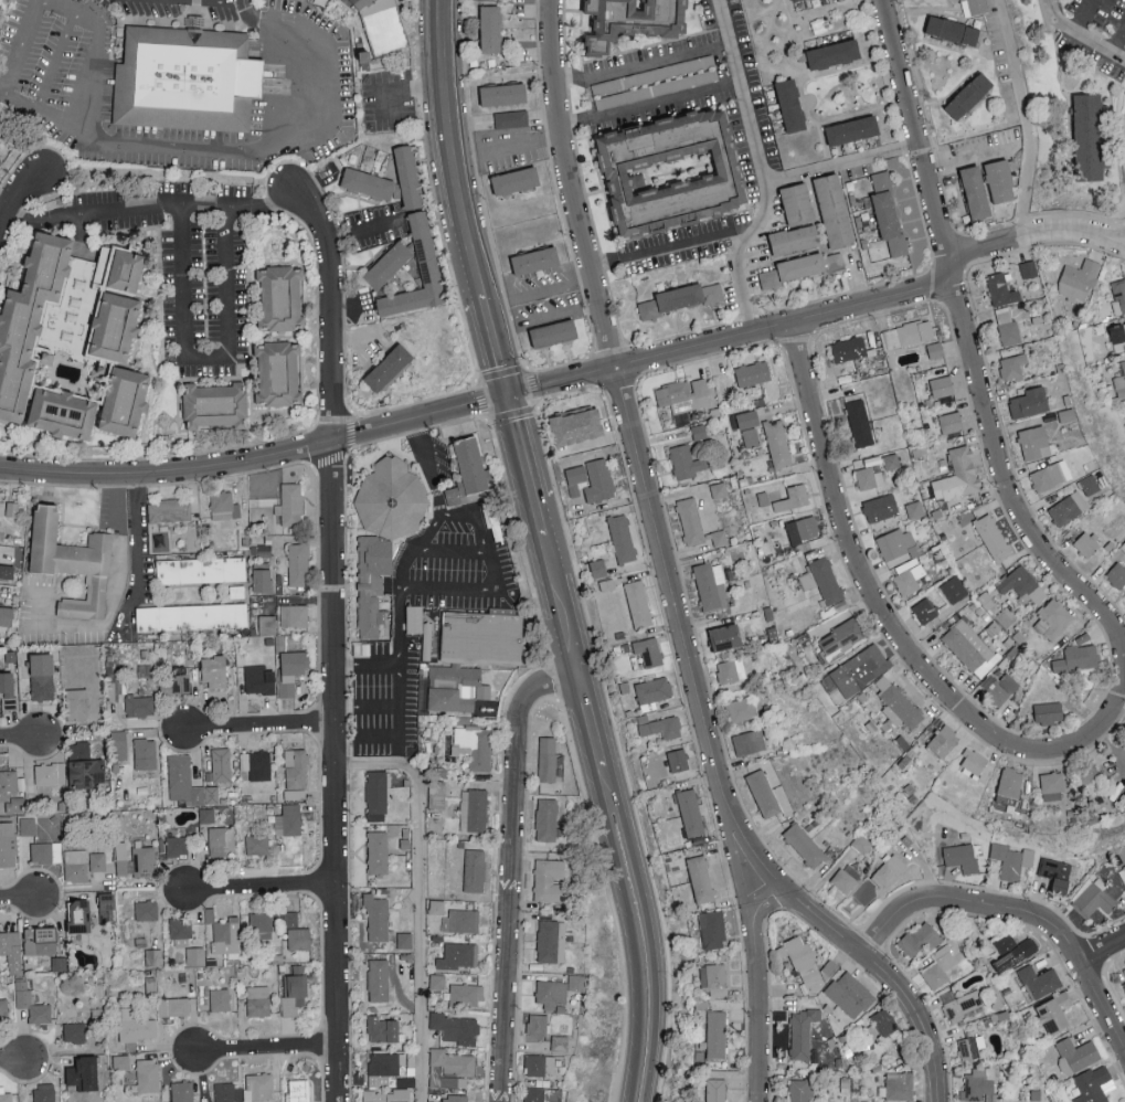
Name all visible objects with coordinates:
building: (794, 0)
road: (223, 1)
building: (319, 1)
building: (974, 7)
road: (1082, 15)
road: (29, 21)
building: (632, 21)
building: (386, 25)
building: (490, 28)
building: (952, 30)
road: (1079, 34)
road: (1118, 41)
building: (834, 53)
road: (93, 56)
road: (57, 60)
road: (721, 68)
building: (185, 81)
parking lot: (105, 85)
road: (404, 86)
building: (502, 93)
building: (968, 95)
parking lot: (389, 102)
building: (790, 105)
road: (1026, 116)
building: (511, 118)
building: (852, 129)
road: (917, 134)
building: (1087, 136)
road: (522, 144)
road: (455, 150)
road: (252, 152)
road: (970, 157)
building: (0, 160)
road: (841, 160)
road: (760, 167)
building: (671, 171)
building: (408, 176)
building: (514, 180)
building: (999, 180)
building: (368, 183)
road: (479, 187)
building: (975, 191)
road: (17, 195)
building: (797, 203)
road: (151, 209)
building: (834, 210)
building: (888, 212)
road: (3, 219)
road: (361, 227)
road: (1032, 231)
building: (794, 239)
road: (673, 244)
building: (425, 251)
road: (447, 258)
building: (534, 259)
building: (388, 264)
building: (802, 267)
building: (1028, 268)
building: (121, 269)
building: (1079, 279)
building: (1001, 289)
road: (540, 290)
building: (1121, 294)
building: (688, 296)
building: (280, 297)
building: (648, 309)
road: (360, 316)
building: (29, 319)
road: (546, 319)
building: (1007, 326)
building: (114, 327)
building: (553, 332)
building: (1117, 332)
building: (908, 333)
road: (730, 335)
road: (355, 339)
road: (496, 347)
building: (849, 349)
building: (935, 350)
building: (46, 358)
road: (206, 359)
building: (1012, 367)
building: (388, 368)
building: (278, 372)
building: (753, 373)
building: (1121, 381)
building: (941, 385)
traffic signals: (509, 396)
building: (683, 398)
building: (124, 401)
building: (1029, 402)
road: (625, 403)
building: (215, 405)
building: (62, 413)
road: (486, 418)
building: (749, 418)
building: (861, 424)
building: (951, 424)
building: (576, 425)
road: (416, 431)
building: (751, 437)
building: (777, 443)
building: (1034, 443)
road: (348, 449)
road: (256, 456)
building: (686, 462)
road: (428, 471)
building: (467, 471)
road: (1002, 471)
building: (958, 475)
building: (1051, 475)
building: (869, 477)
building: (575, 478)
building: (598, 480)
building: (1090, 484)
building: (724, 488)
building: (391, 498)
building: (793, 498)
building: (291, 504)
building: (223, 505)
building: (1, 507)
building: (881, 507)
building: (12, 508)
building: (1068, 508)
building: (169, 510)
building: (690, 520)
building: (803, 529)
road: (543, 536)
building: (622, 538)
building: (719, 538)
building: (993, 538)
building: (1086, 542)
building: (898, 543)
road: (137, 545)
building: (74, 563)
building: (298, 564)
building: (598, 568)
building: (201, 570)
building: (7, 572)
parking lot: (465, 573)
building: (1118, 574)
building: (909, 575)
building: (821, 579)
building: (262, 580)
building: (372, 583)
building: (1021, 584)
building: (710, 585)
road: (400, 587)
building: (954, 589)
road: (880, 603)
building: (638, 604)
building: (924, 611)
road: (112, 612)
building: (294, 615)
building: (6, 616)
building: (191, 616)
building: (1052, 618)
building: (269, 634)
building: (724, 637)
road: (335, 638)
building: (840, 638)
building: (970, 647)
building: (648, 650)
building: (1078, 658)
building: (466, 660)
building: (860, 669)
building: (213, 670)
building: (291, 670)
building: (731, 670)
building: (42, 677)
building: (255, 678)
building: (176, 685)
road: (401, 686)
building: (999, 687)
building: (7, 691)
building: (652, 691)
parking lot: (385, 700)
building: (76, 703)
building: (139, 706)
building: (901, 707)
building: (741, 709)
road: (1116, 710)
building: (1048, 712)
road: (259, 727)
building: (660, 727)
road: (395, 739)
road: (20, 740)
building: (944, 741)
building: (749, 742)
building: (118, 745)
building: (147, 755)
building: (546, 759)
building: (678, 760)
building: (974, 761)
building: (221, 764)
building: (257, 764)
building: (84, 766)
building: (50, 773)
building: (296, 773)
building: (1089, 778)
building: (188, 782)
building: (1010, 782)
building: (1051, 786)
building: (11, 791)
building: (763, 793)
building: (376, 795)
building: (474, 809)
building: (690, 813)
building: (546, 819)
building: (288, 820)
building: (672, 824)
building: (26, 825)
building: (222, 840)
building: (8, 844)
building: (257, 844)
building: (805, 845)
building: (176, 846)
building: (45, 852)
building: (378, 852)
building: (961, 857)
building: (123, 859)
building: (1011, 859)
building: (97, 861)
building: (144, 861)
road: (736, 862)
building: (1124, 865)
building: (76, 866)
road: (924, 866)
road: (511, 869)
building: (474, 870)
building: (889, 871)
building: (1059, 873)
building: (846, 877)
building: (549, 879)
building: (700, 879)
road: (262, 886)
road: (630, 886)
building: (864, 891)
road: (416, 897)
building: (1096, 897)
road: (20, 898)
building: (106, 907)
building: (437, 907)
road: (1019, 907)
building: (146, 910)
building: (78, 916)
building: (376, 919)
building: (461, 921)
building: (261, 924)
building: (180, 928)
building: (712, 929)
building: (296, 933)
building: (226, 936)
building: (921, 937)
building: (404, 940)
building: (551, 940)
building: (41, 941)
road: (852, 941)
road: (1102, 945)
building: (11, 949)
building: (1012, 951)
building: (195, 955)
building: (459, 955)
building: (153, 957)
building: (803, 962)
building: (940, 965)
building: (714, 978)
building: (379, 979)
building: (437, 981)
building: (1039, 981)
building: (576, 982)
building: (1124, 983)
road: (755, 987)
building: (22, 990)
building: (551, 993)
building: (850, 993)
building: (293, 994)
building: (465, 994)
building: (220, 999)
building: (257, 1000)
building: (962, 1004)
building: (174, 1007)
building: (3, 1010)
building: (1054, 1010)
building: (881, 1022)
building: (537, 1024)
building: (135, 1025)
building: (455, 1027)
building: (383, 1028)
building: (806, 1030)
building: (74, 1032)
building: (715, 1034)
building: (560, 1041)
building: (972, 1046)
road: (268, 1050)
building: (1075, 1053)
building: (120, 1061)
road: (12, 1062)
building: (540, 1063)
building: (453, 1066)
building: (382, 1068)
building: (85, 1073)
building: (147, 1074)
building: (980, 1083)
building: (900, 1084)
building: (1093, 1084)
building: (258, 1085)
building: (297, 1090)
building: (715, 1090)
building: (800, 1090)
building: (182, 1091)
building: (224, 1091)
building: (44, 1092)
building: (533, 1093)
building: (6, 1095)
building: (388, 1095)
building: (454, 1098)

